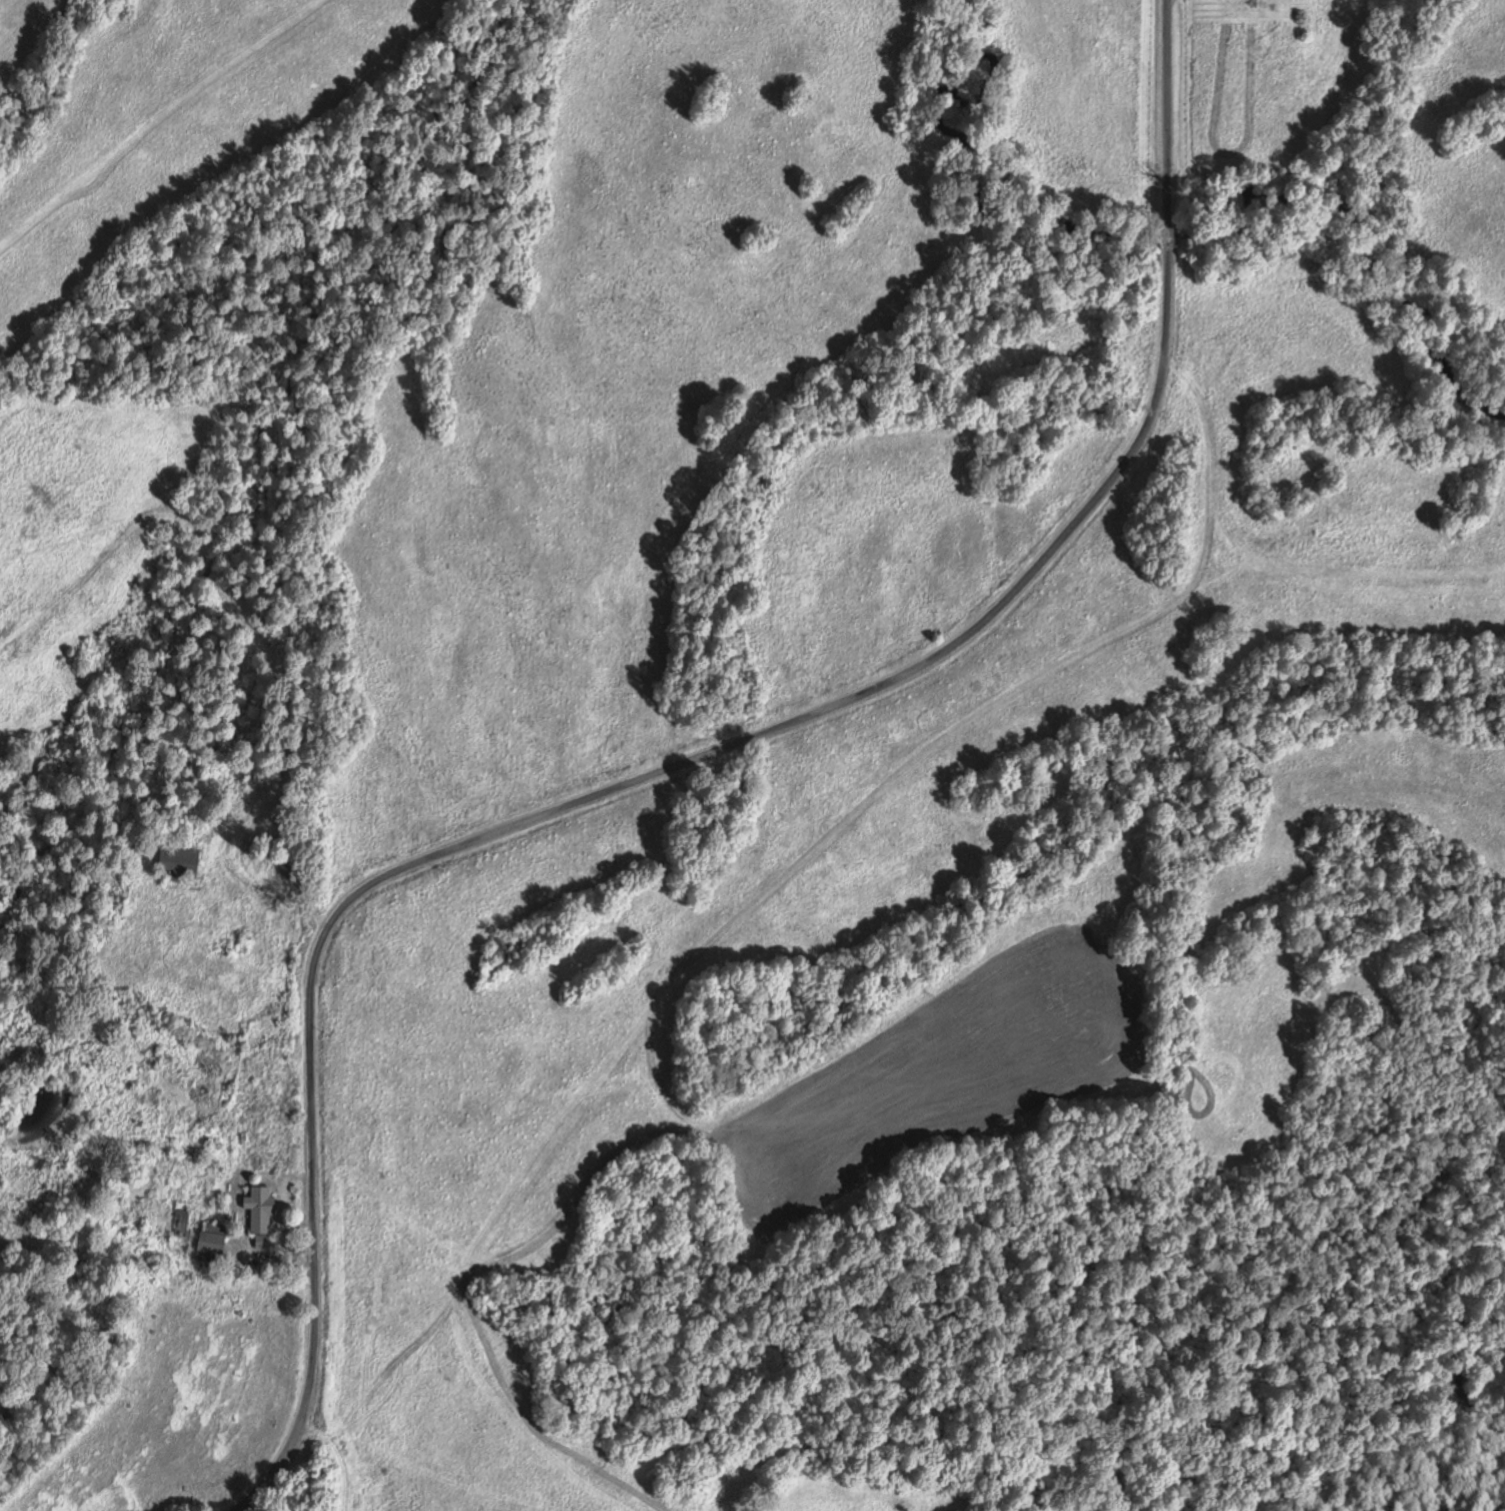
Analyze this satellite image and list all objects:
road: (263, 641)
road: (684, 758)
building: (289, 861)
building: (180, 862)
building: (262, 1209)
building: (214, 1243)
road: (278, 1245)

